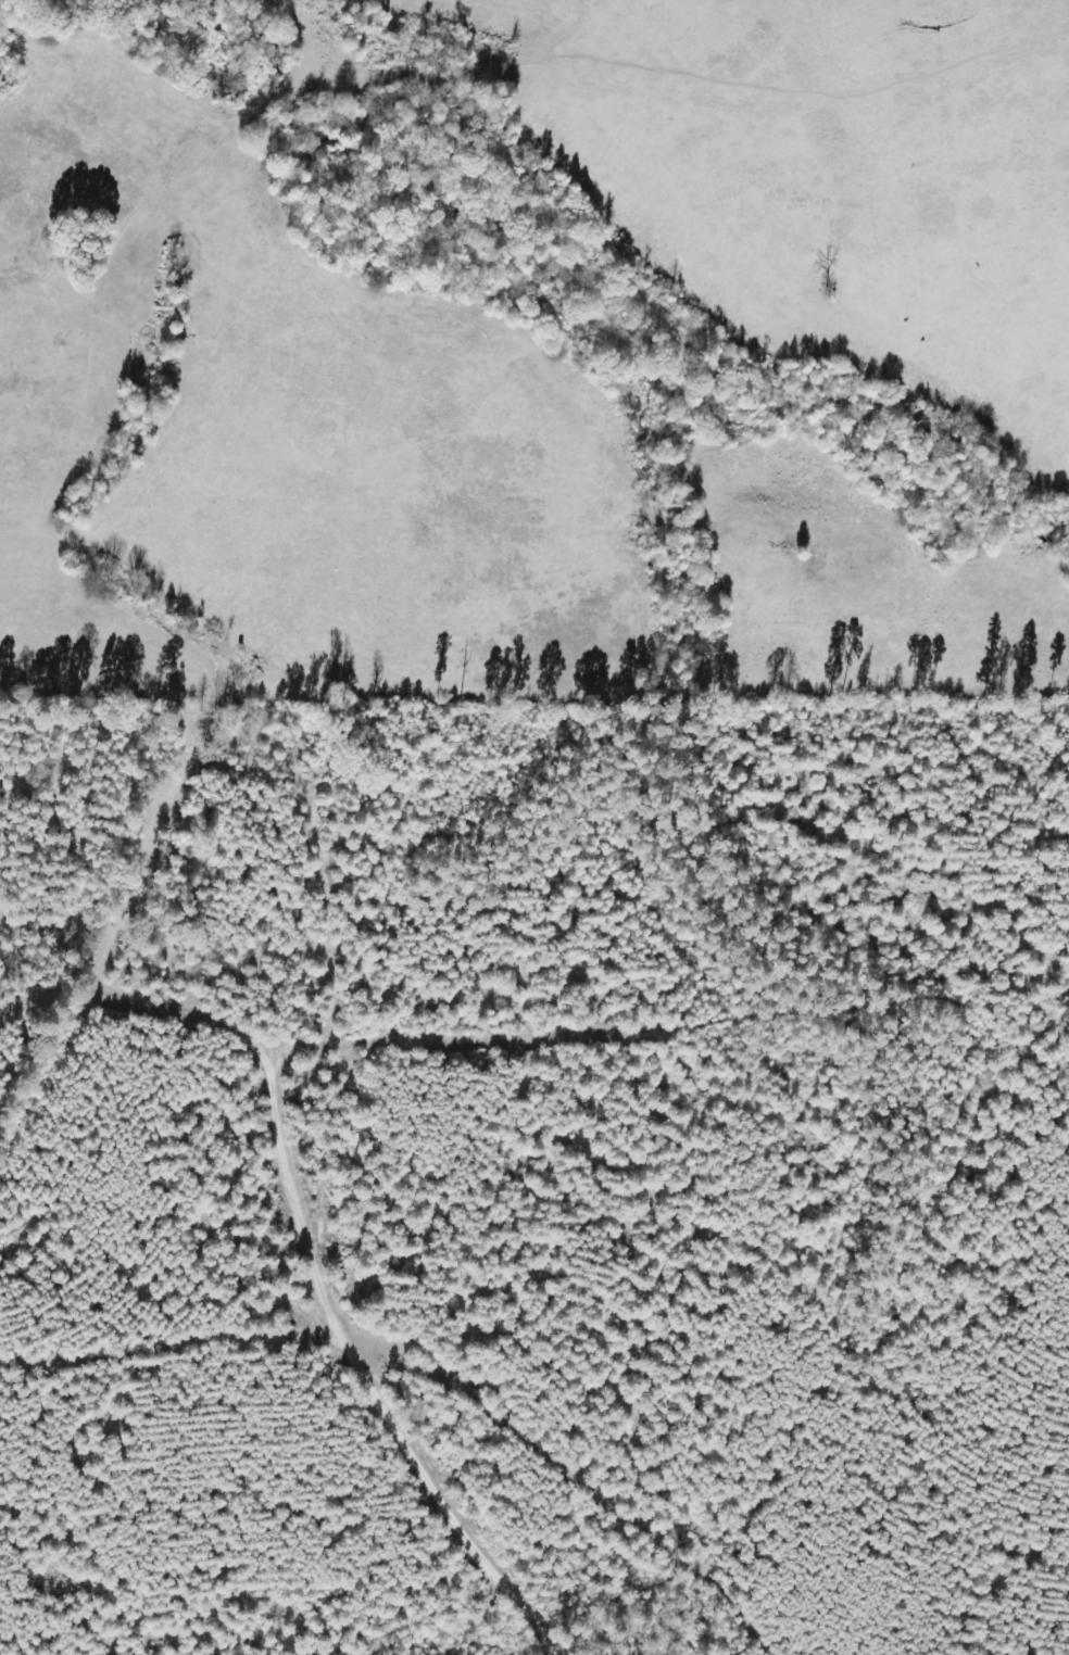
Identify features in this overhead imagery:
road: (538, 1033)

